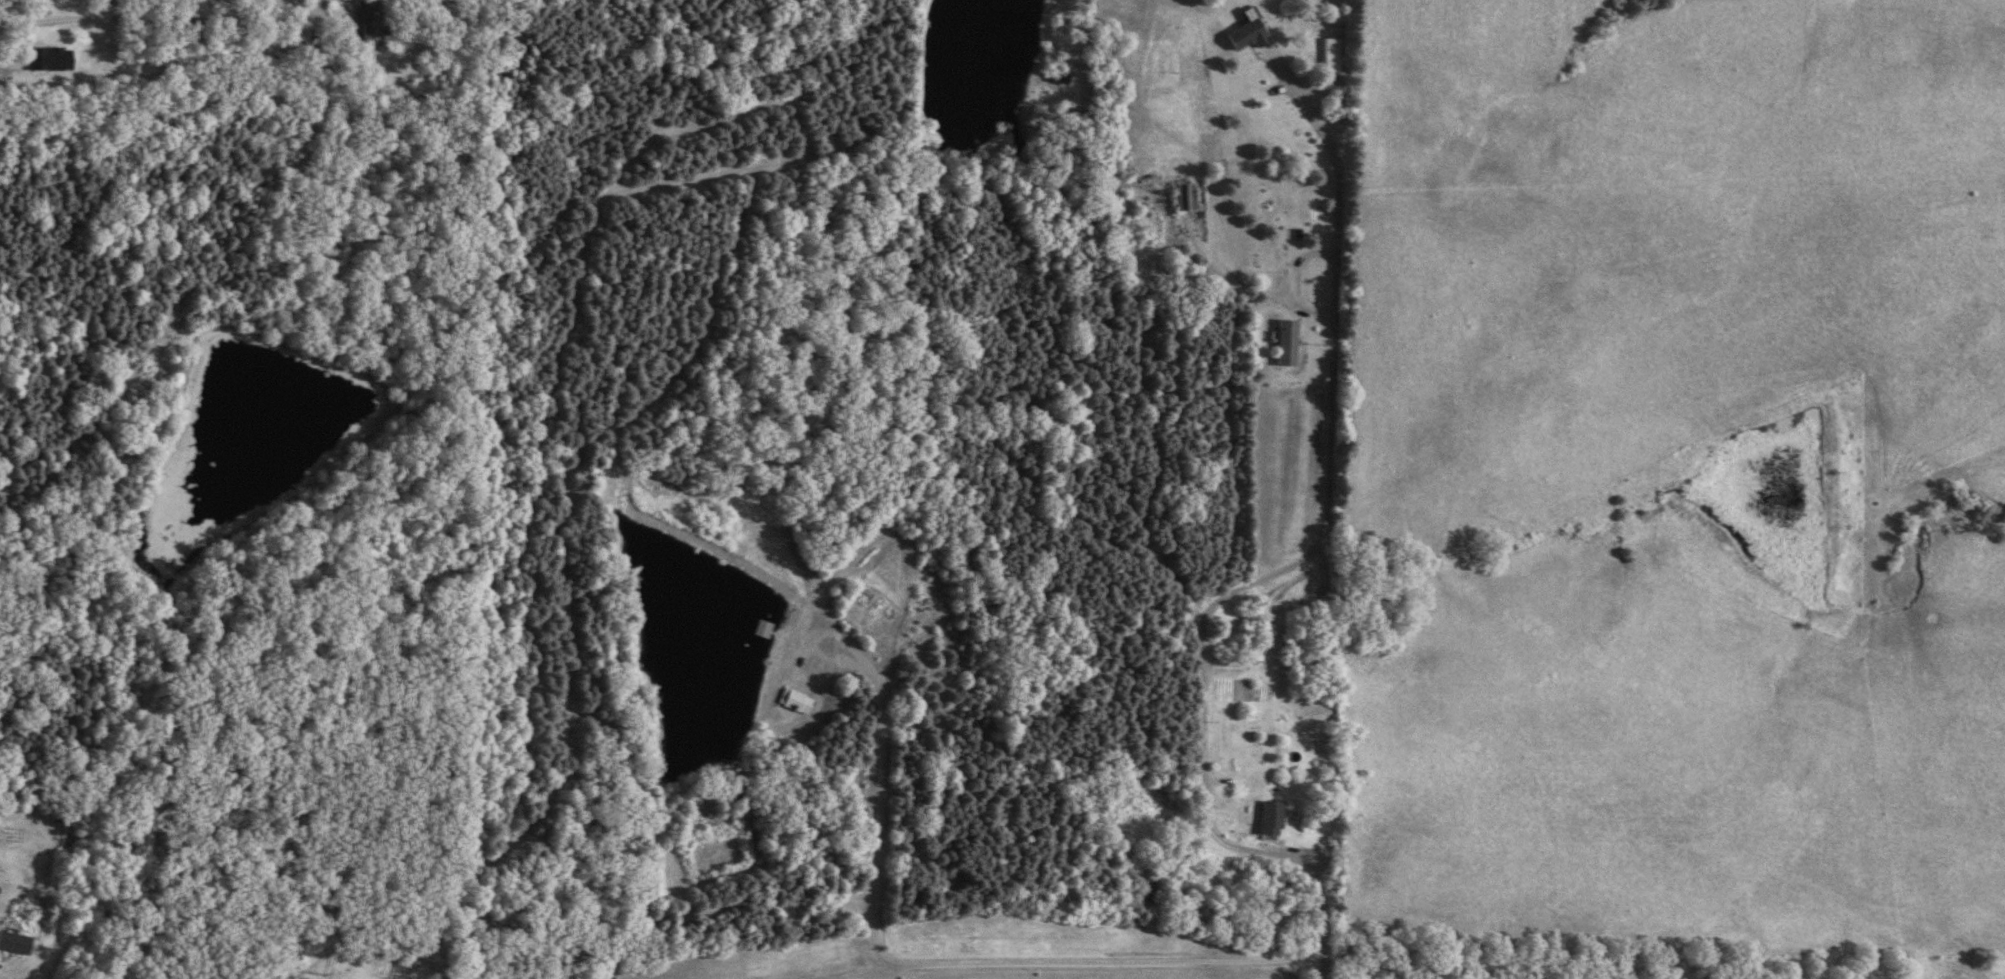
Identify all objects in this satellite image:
building: (365, 23)
road: (204, 27)
building: (1245, 35)
building: (1329, 54)
building: (49, 58)
building: (1285, 342)
road: (1283, 570)
building: (759, 628)
building: (793, 701)
building: (1268, 820)
building: (14, 942)
road: (938, 962)

